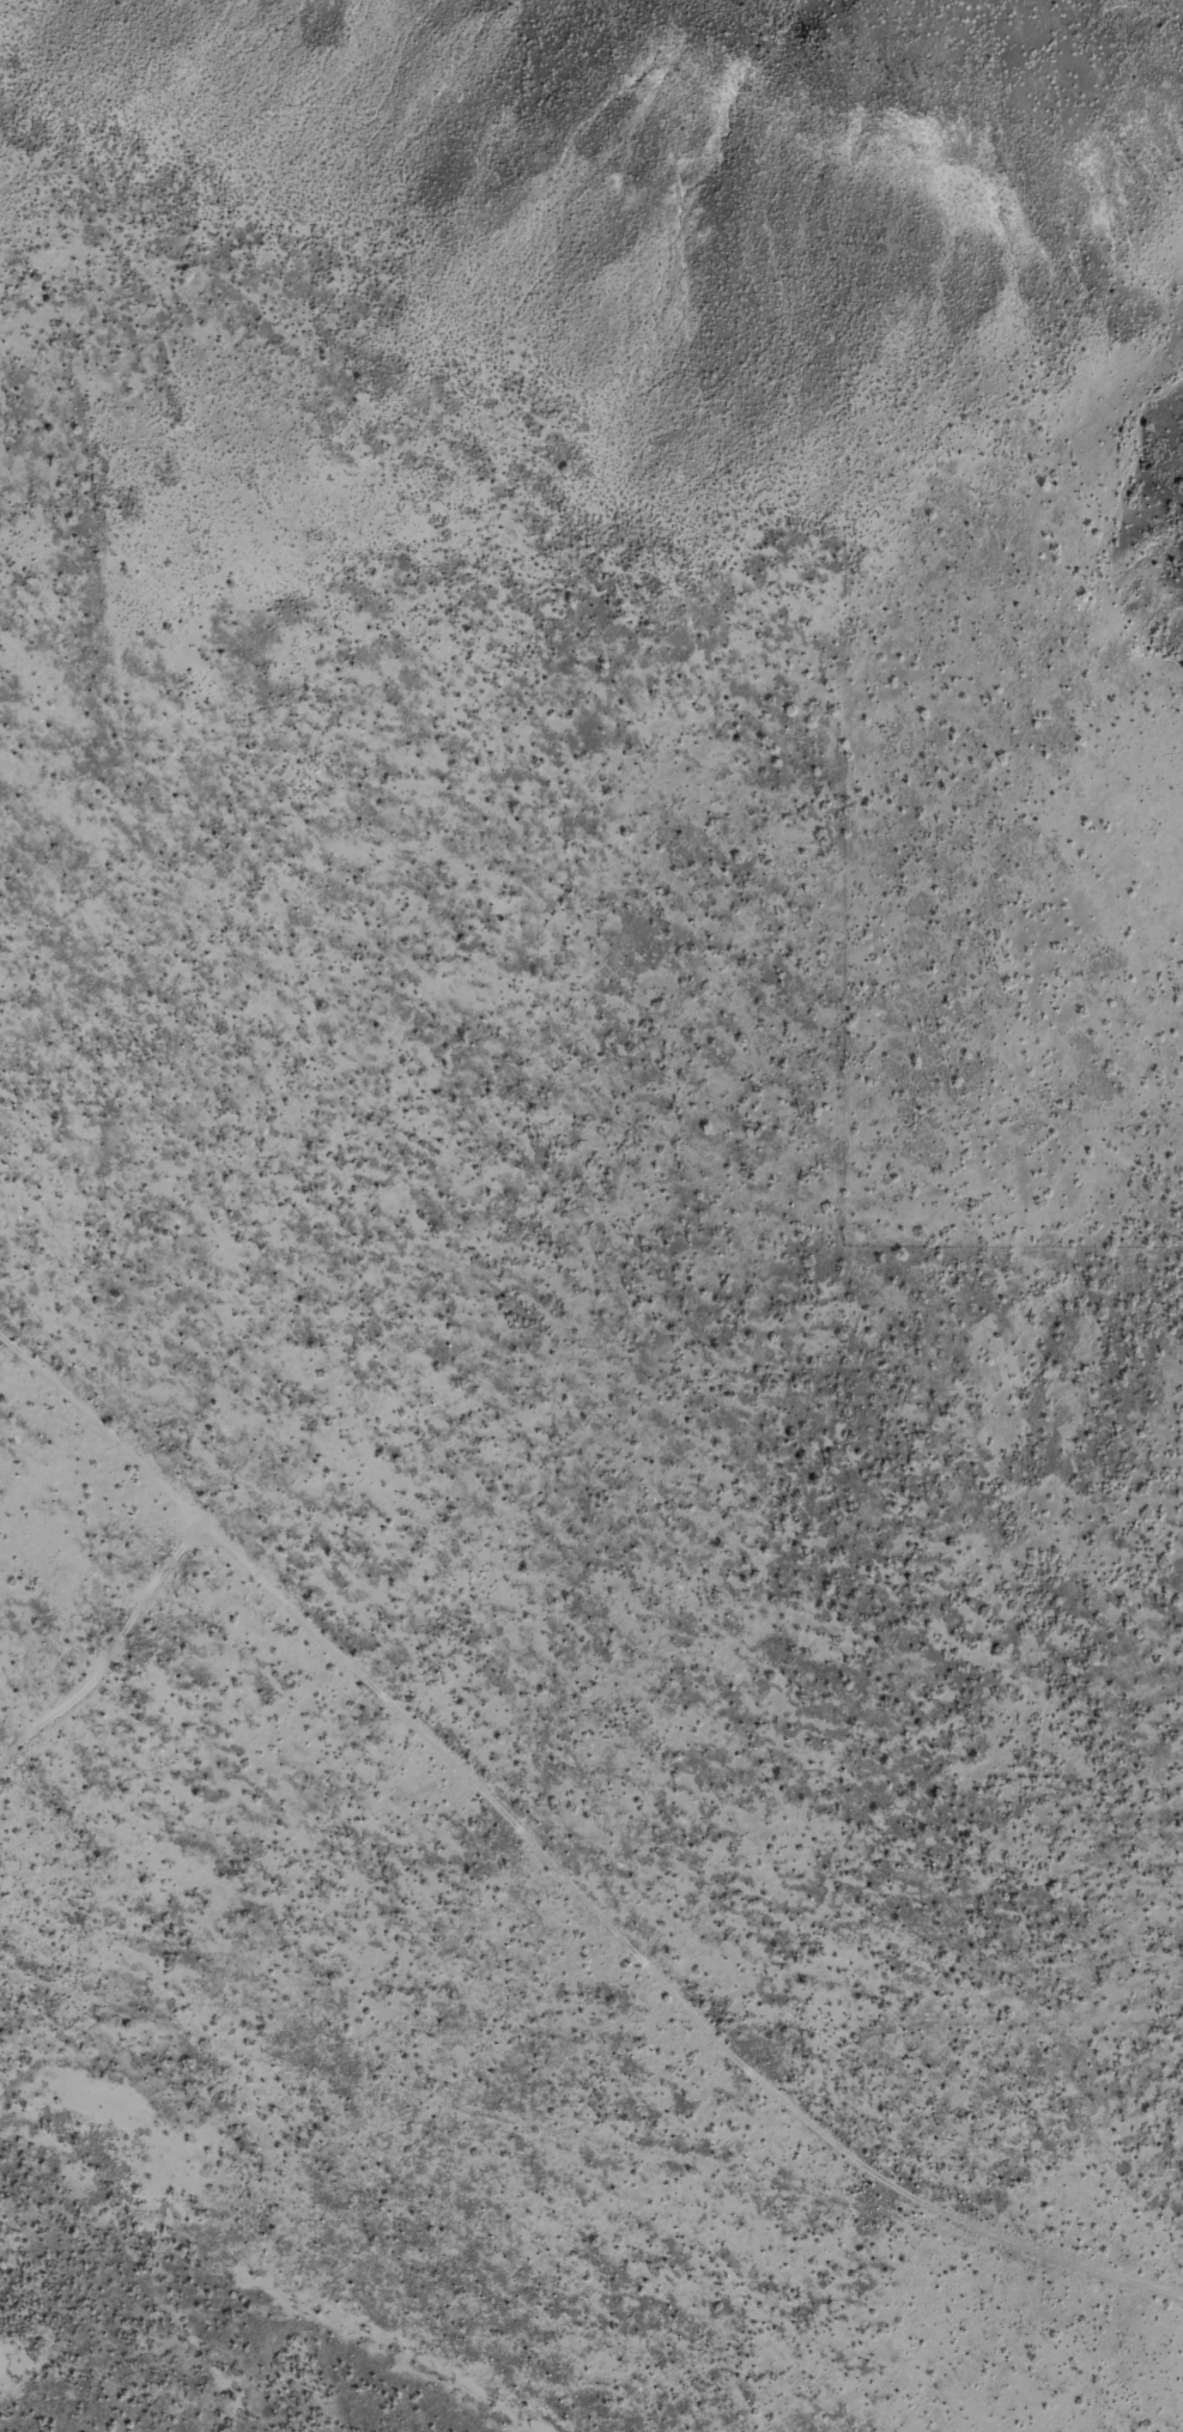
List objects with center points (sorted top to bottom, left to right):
road: (399, 1661)
road: (651, 2031)

